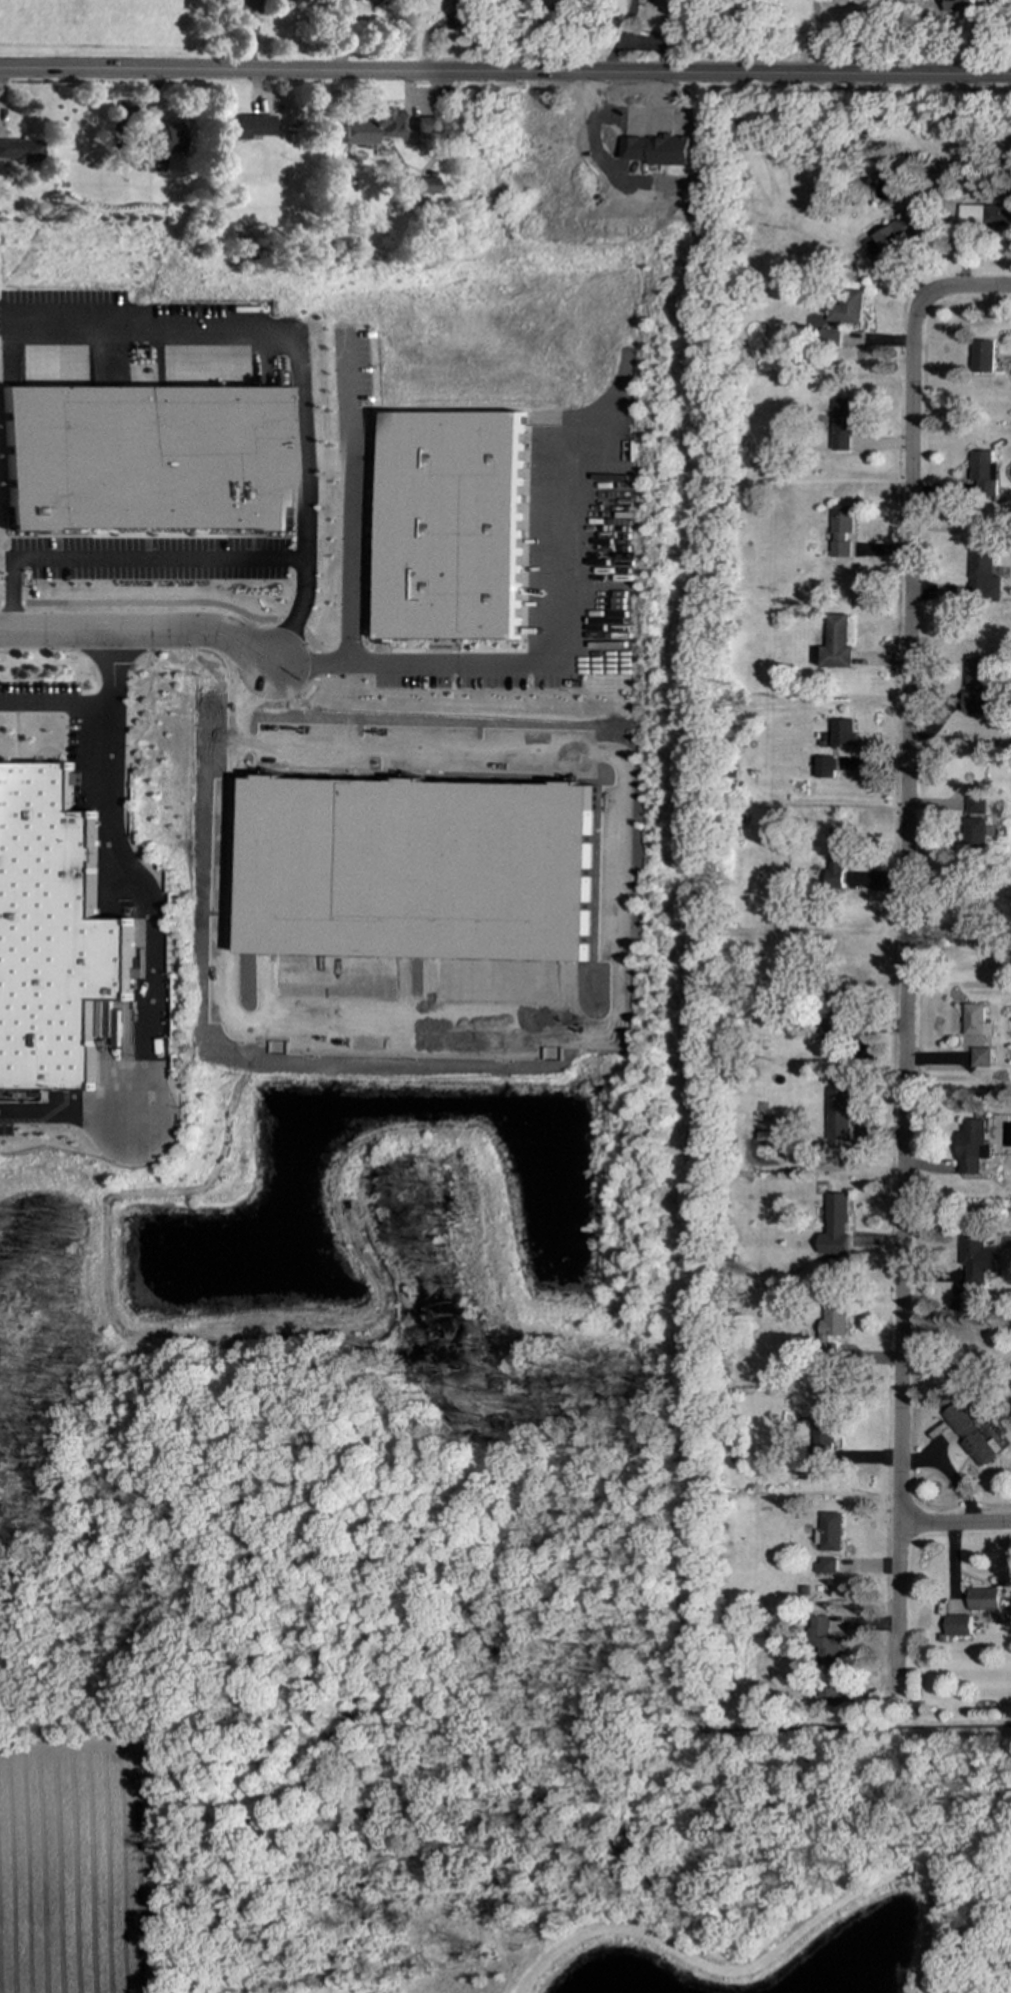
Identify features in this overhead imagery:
building: (286, 0)
building: (958, 6)
crop: (98, 29)
road: (816, 37)
road: (505, 74)
building: (428, 125)
building: (244, 126)
building: (371, 127)
building: (164, 139)
building: (20, 150)
building: (660, 150)
building: (420, 185)
building: (984, 215)
building: (893, 235)
road: (918, 301)
building: (845, 308)
building: (828, 338)
building: (981, 357)
road: (305, 363)
building: (841, 424)
building: (151, 458)
building: (982, 474)
road: (351, 498)
building: (451, 525)
building: (840, 531)
road: (147, 532)
road: (68, 536)
road: (245, 536)
road: (58, 547)
road: (251, 547)
road: (147, 548)
parking lot: (155, 558)
road: (124, 559)
building: (982, 576)
building: (525, 605)
road: (255, 618)
road: (140, 631)
building: (833, 645)
road: (529, 663)
building: (978, 688)
parking lot: (40, 697)
road: (55, 704)
building: (841, 732)
building: (823, 767)
building: (974, 805)
building: (973, 833)
building: (837, 856)
road: (136, 877)
building: (966, 921)
building: (55, 935)
building: (835, 1010)
building: (974, 1021)
road: (902, 1030)
building: (979, 1058)
road: (74, 1110)
building: (837, 1113)
parking lot: (6, 1120)
building: (971, 1147)
building: (834, 1226)
building: (976, 1259)
building: (957, 1304)
building: (832, 1321)
building: (825, 1426)
building: (970, 1437)
road: (954, 1524)
building: (828, 1532)
building: (824, 1565)
building: (982, 1599)
building: (956, 1625)
building: (822, 1641)
building: (826, 1690)
crop: (82, 1868)

